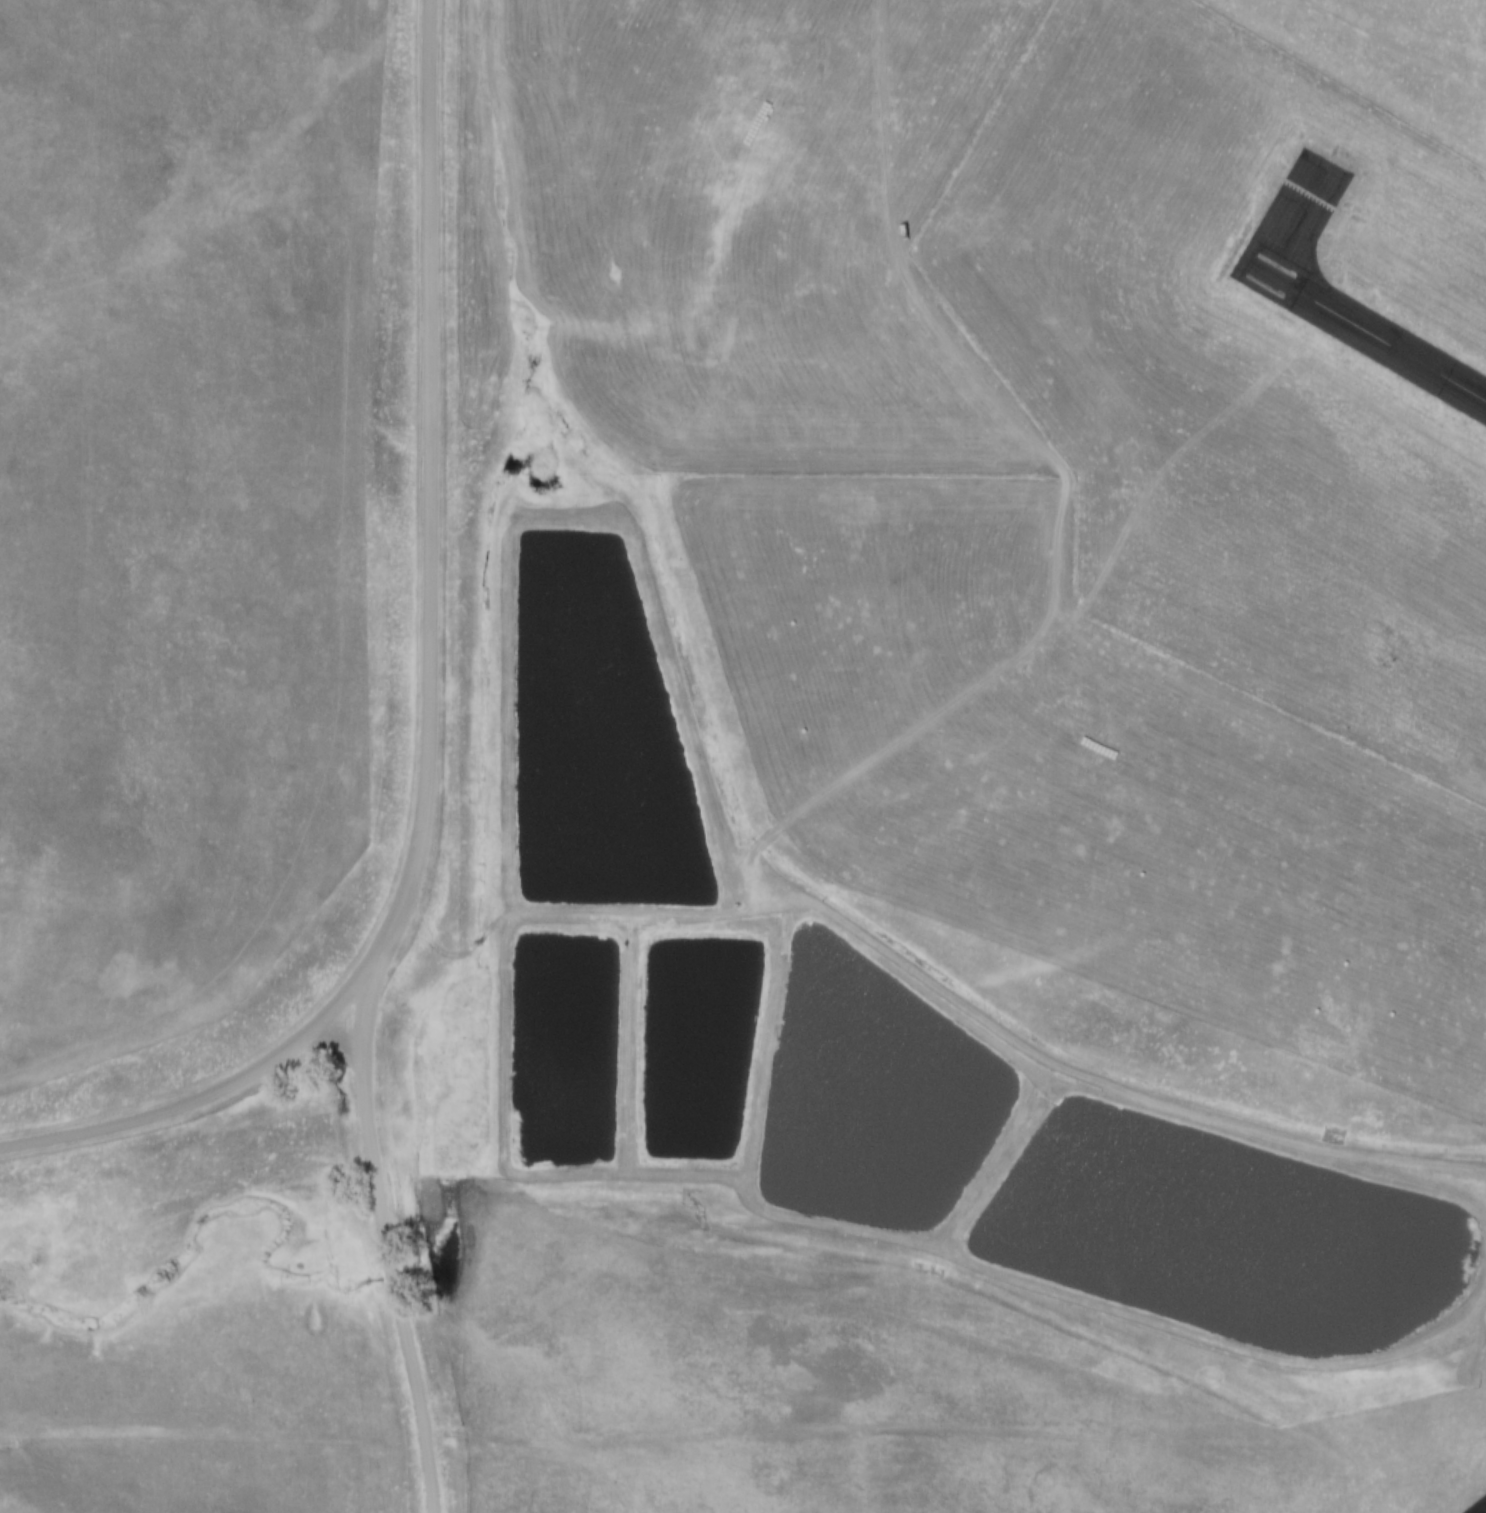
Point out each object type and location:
airport runway: (1363, 337)
airport: (1242, 370)
road: (434, 720)
road: (930, 976)
road: (192, 1103)
road: (424, 1468)

